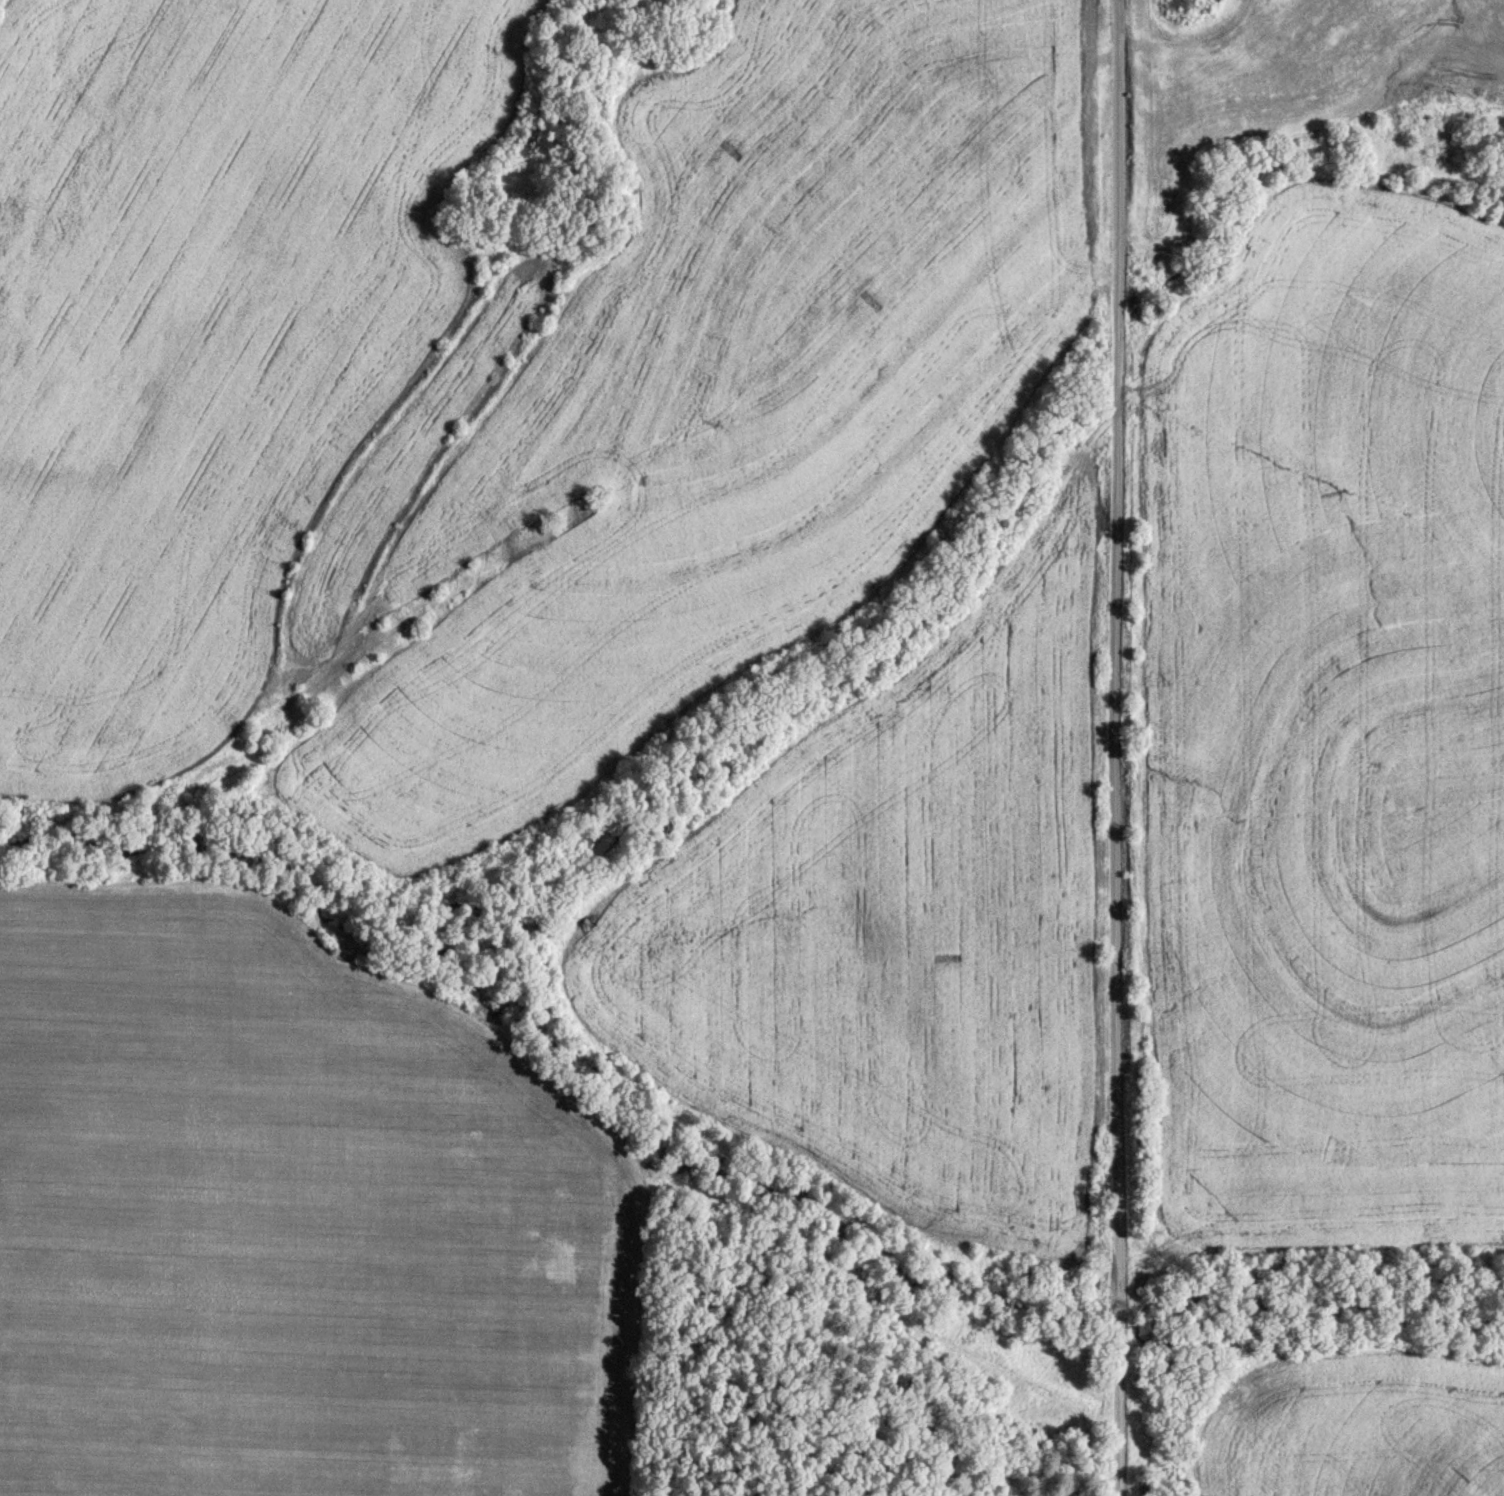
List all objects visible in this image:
building: (1189, 3)
road: (1116, 747)

